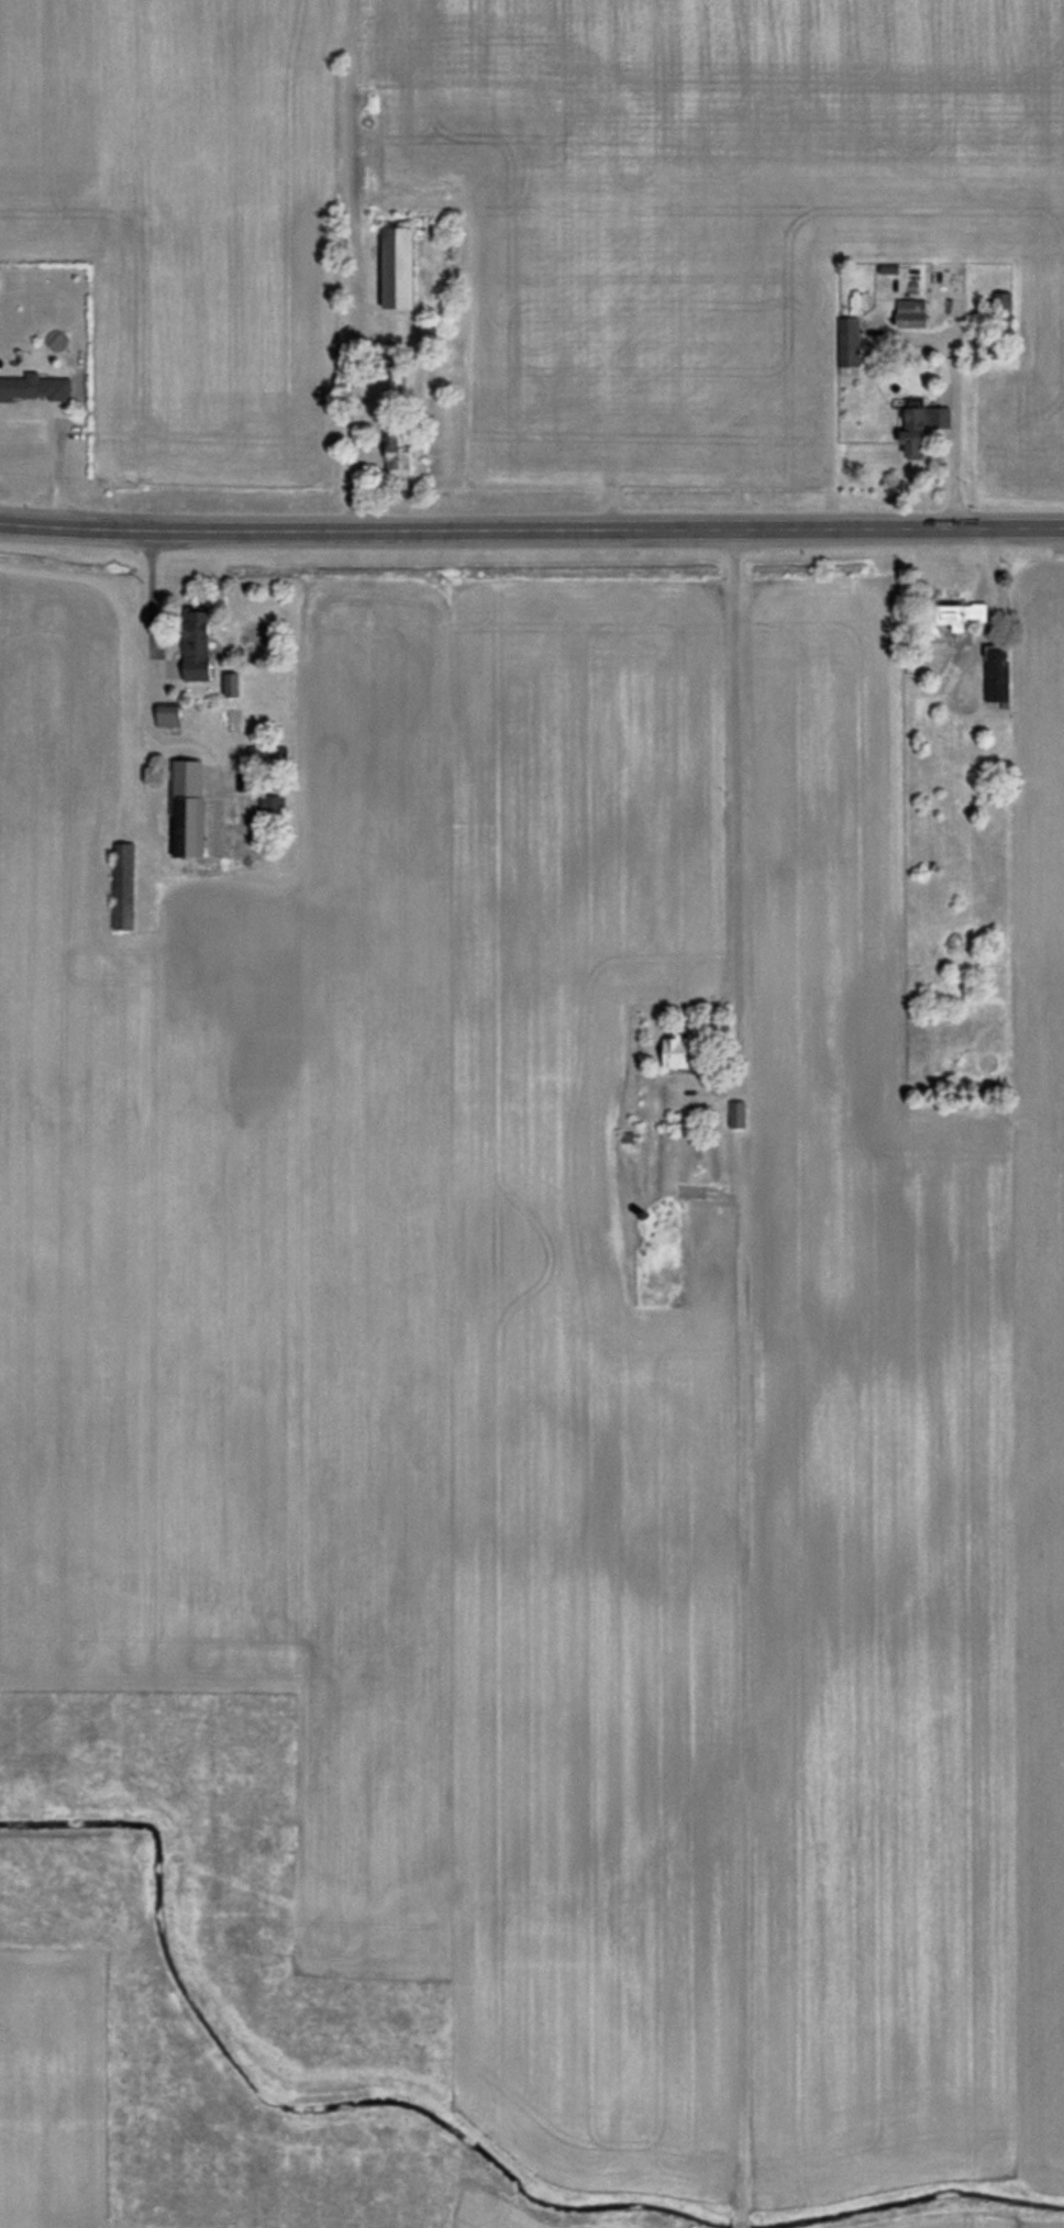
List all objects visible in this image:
building: (404, 268)
building: (852, 342)
building: (37, 389)
building: (924, 425)
road: (953, 426)
building: (403, 452)
road: (531, 529)
road: (987, 603)
building: (967, 614)
building: (202, 646)
building: (1000, 673)
road: (147, 705)
building: (173, 716)
road: (734, 800)
building: (192, 809)
building: (128, 887)
building: (684, 1053)
building: (740, 1117)

